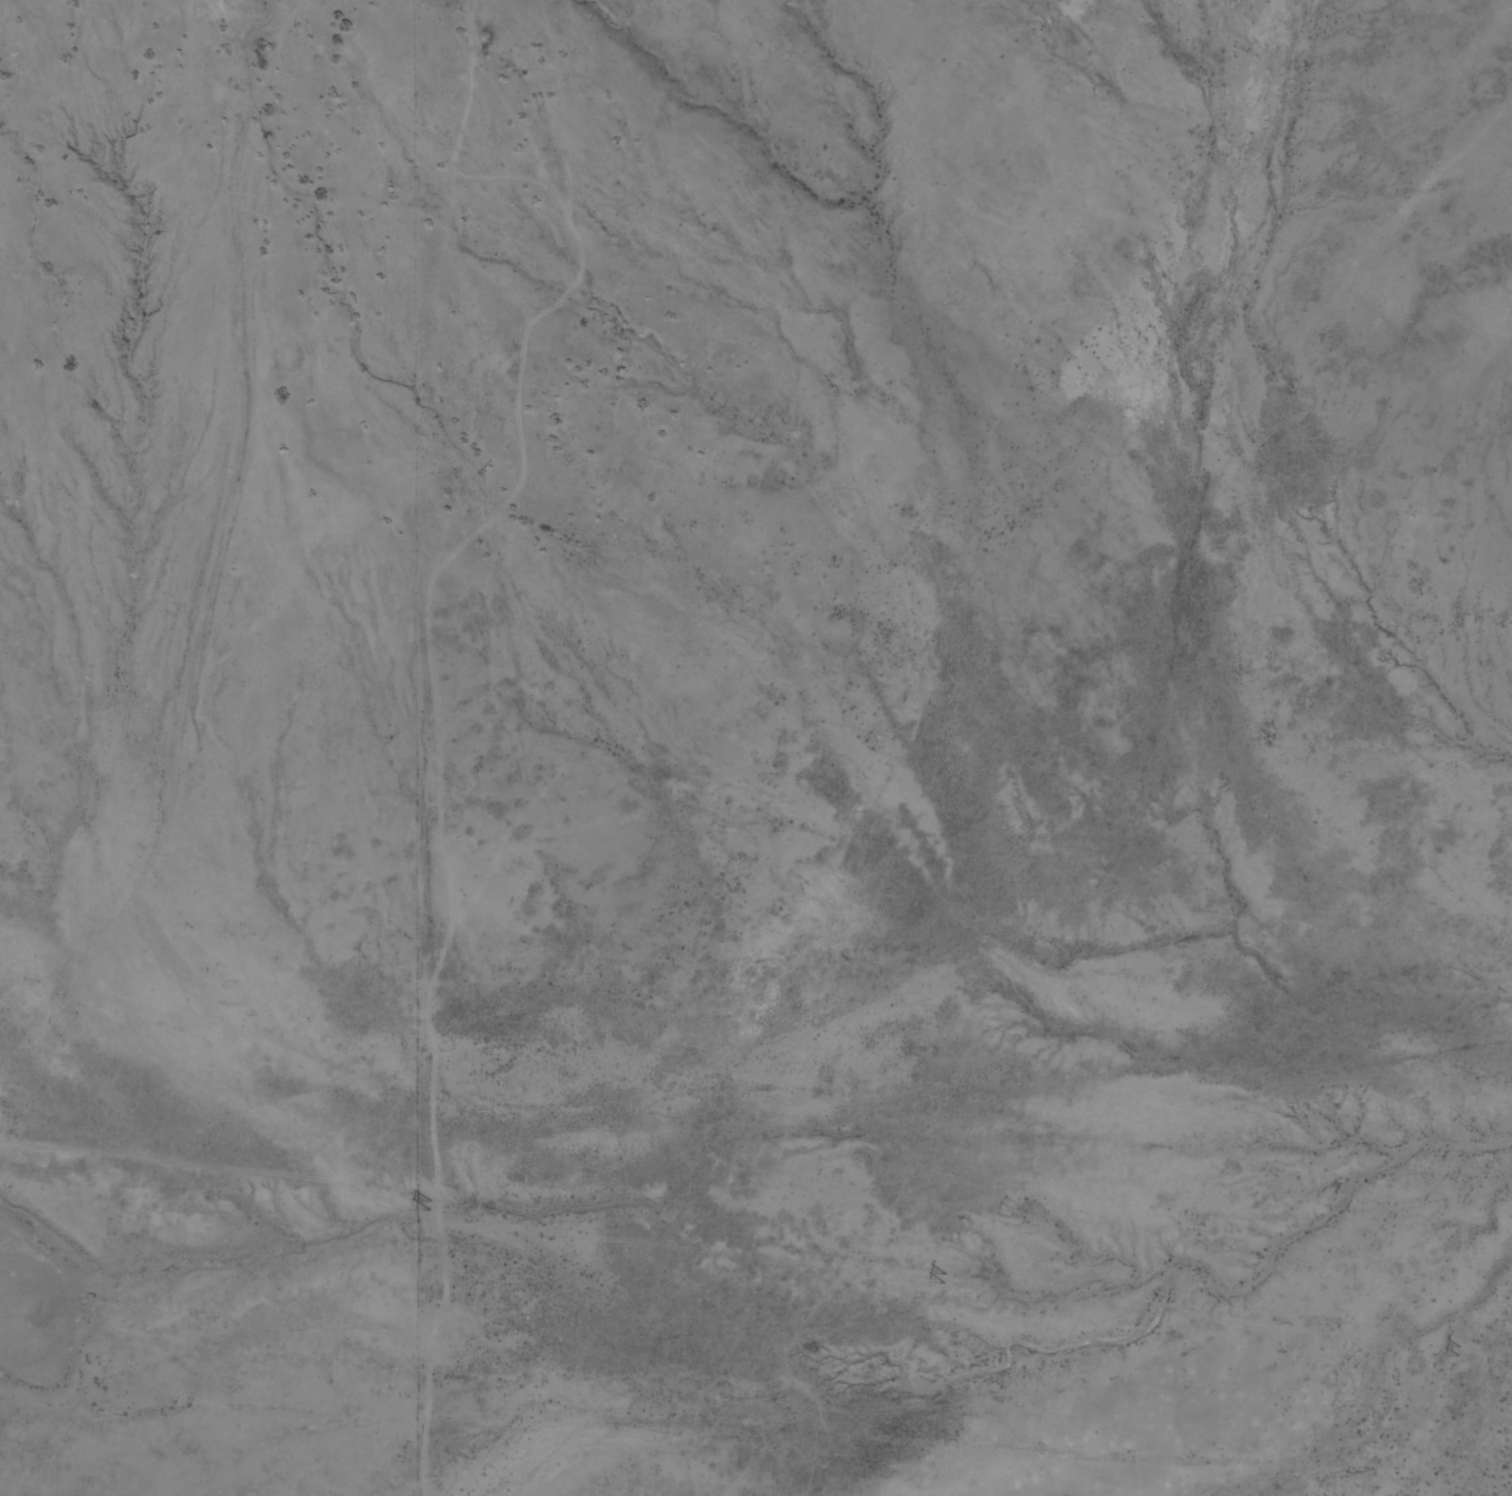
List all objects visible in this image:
power tower: (429, 1207)
power tower: (944, 1280)
power tower: (1458, 1352)

